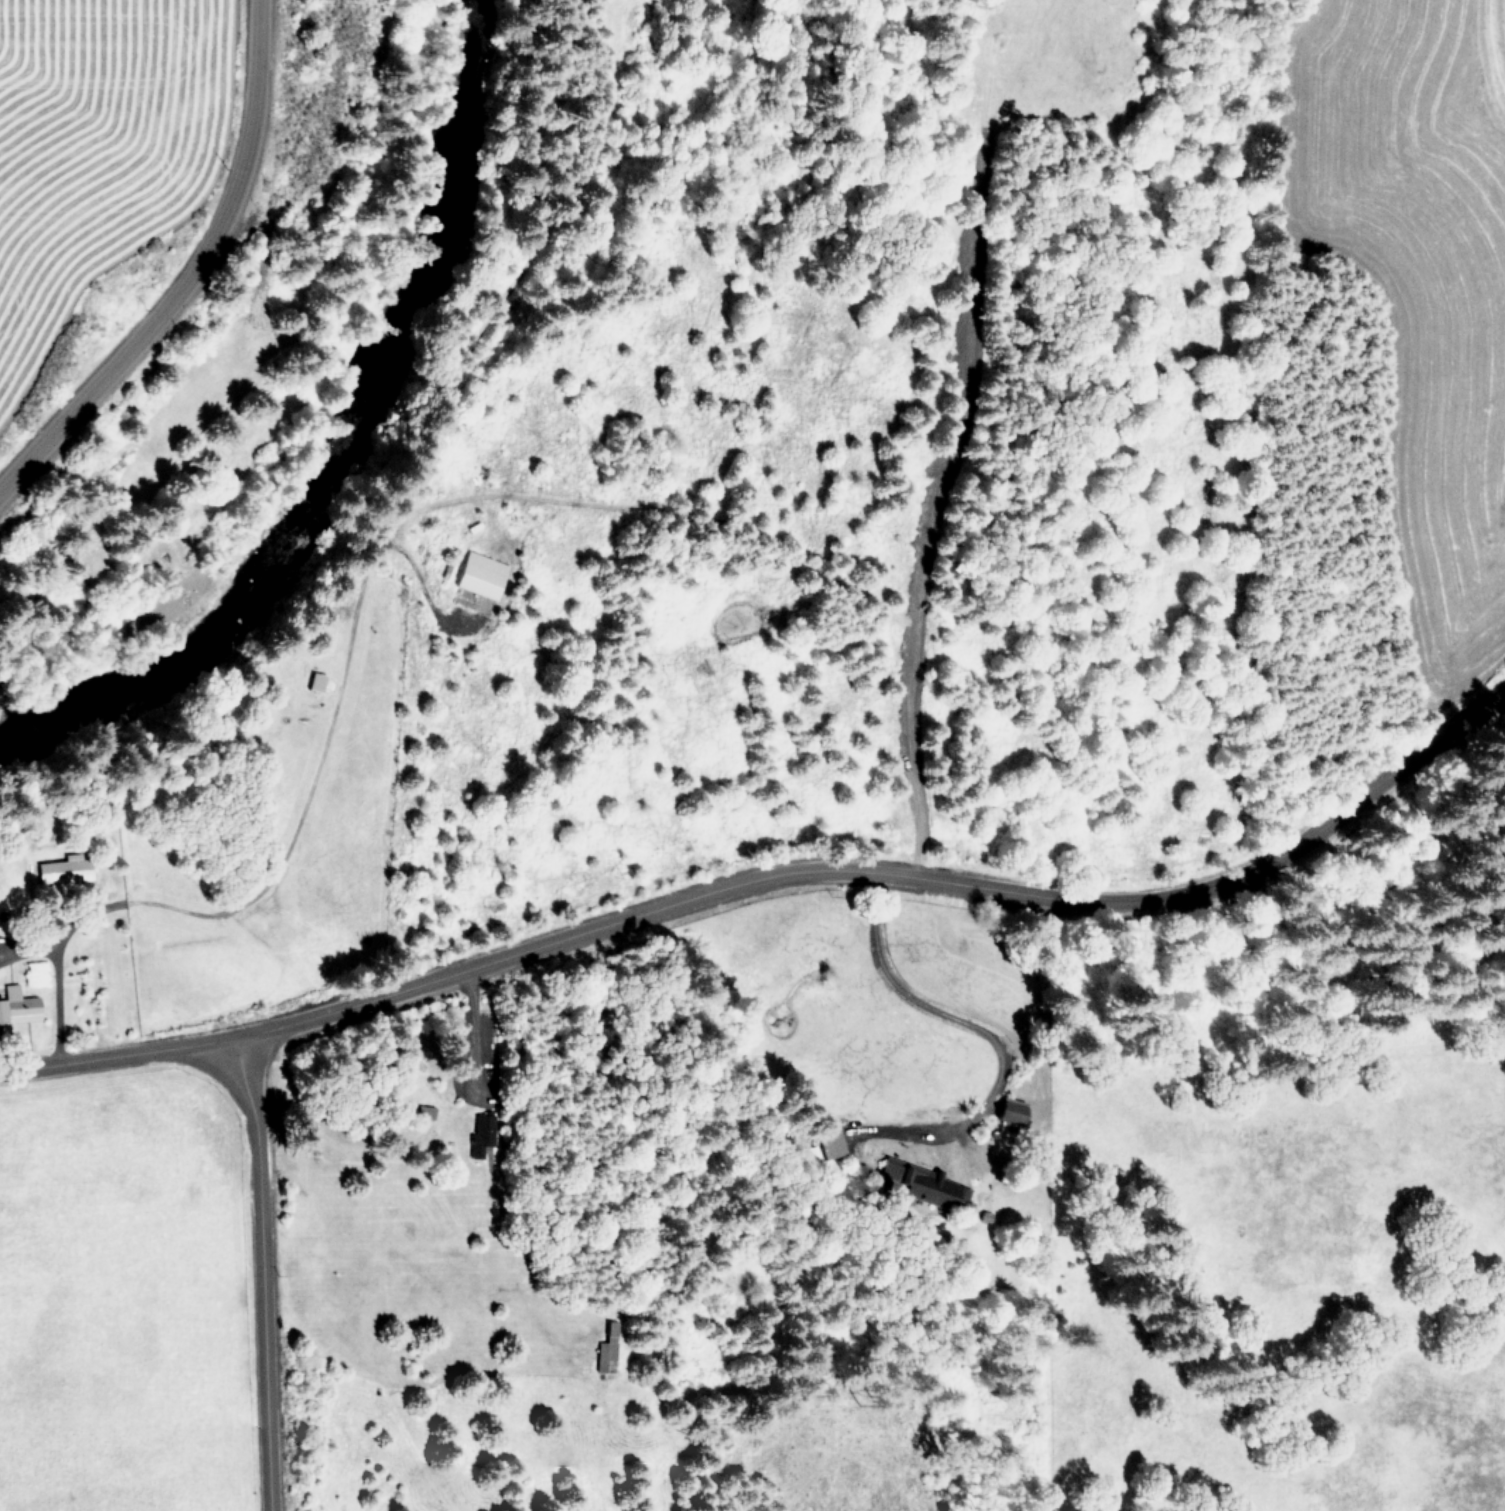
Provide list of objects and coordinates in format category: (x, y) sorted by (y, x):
crop: (130, 204)
crop: (1389, 234)
road: (194, 278)
building: (480, 574)
building: (315, 680)
road: (775, 865)
building: (63, 869)
road: (52, 1001)
building: (17, 1005)
road: (934, 1011)
building: (1011, 1110)
building: (481, 1131)
building: (830, 1144)
building: (893, 1172)
building: (952, 1193)
road: (255, 1268)
crop: (1404, 1276)
building: (607, 1350)

